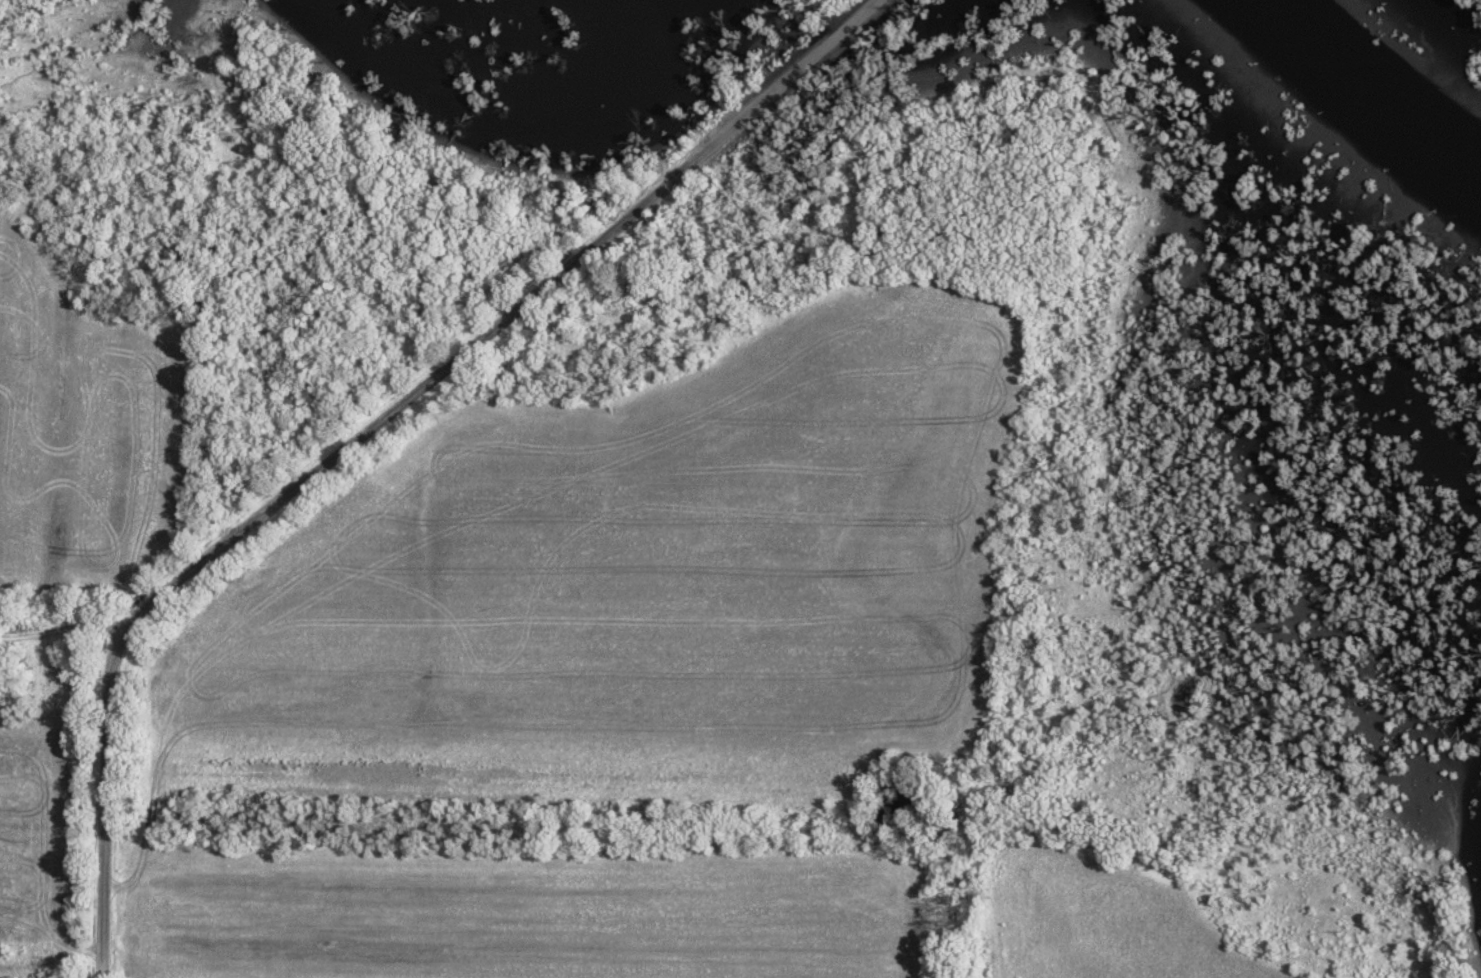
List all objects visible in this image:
river: (1355, 95)
road: (507, 323)
road: (62, 631)
road: (105, 803)

